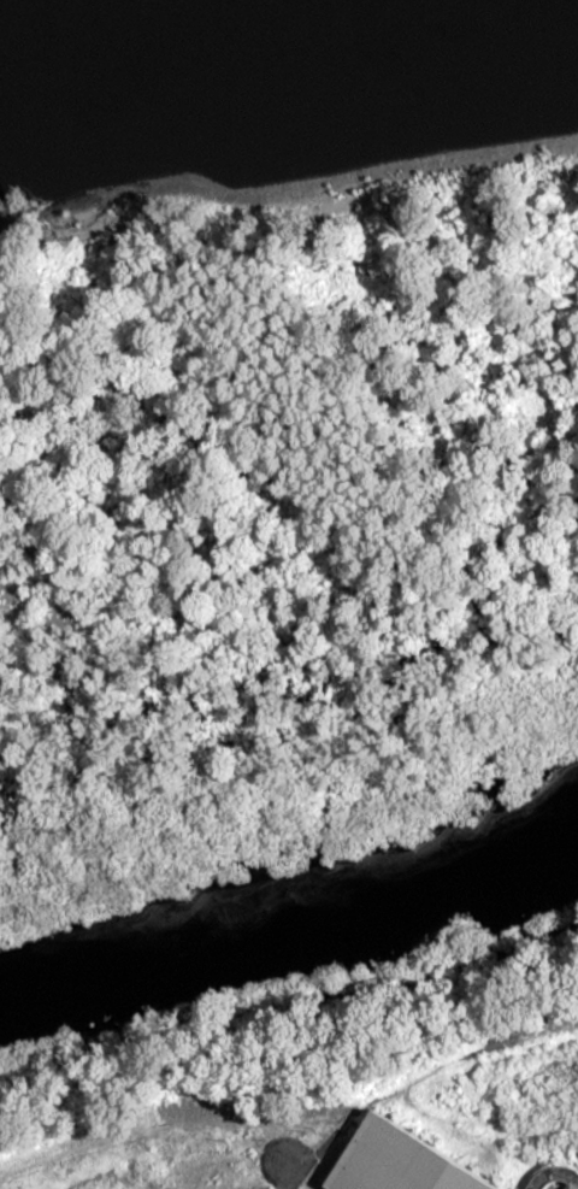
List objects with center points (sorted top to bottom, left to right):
road: (237, 1155)
building: (415, 1160)
building: (560, 1177)

